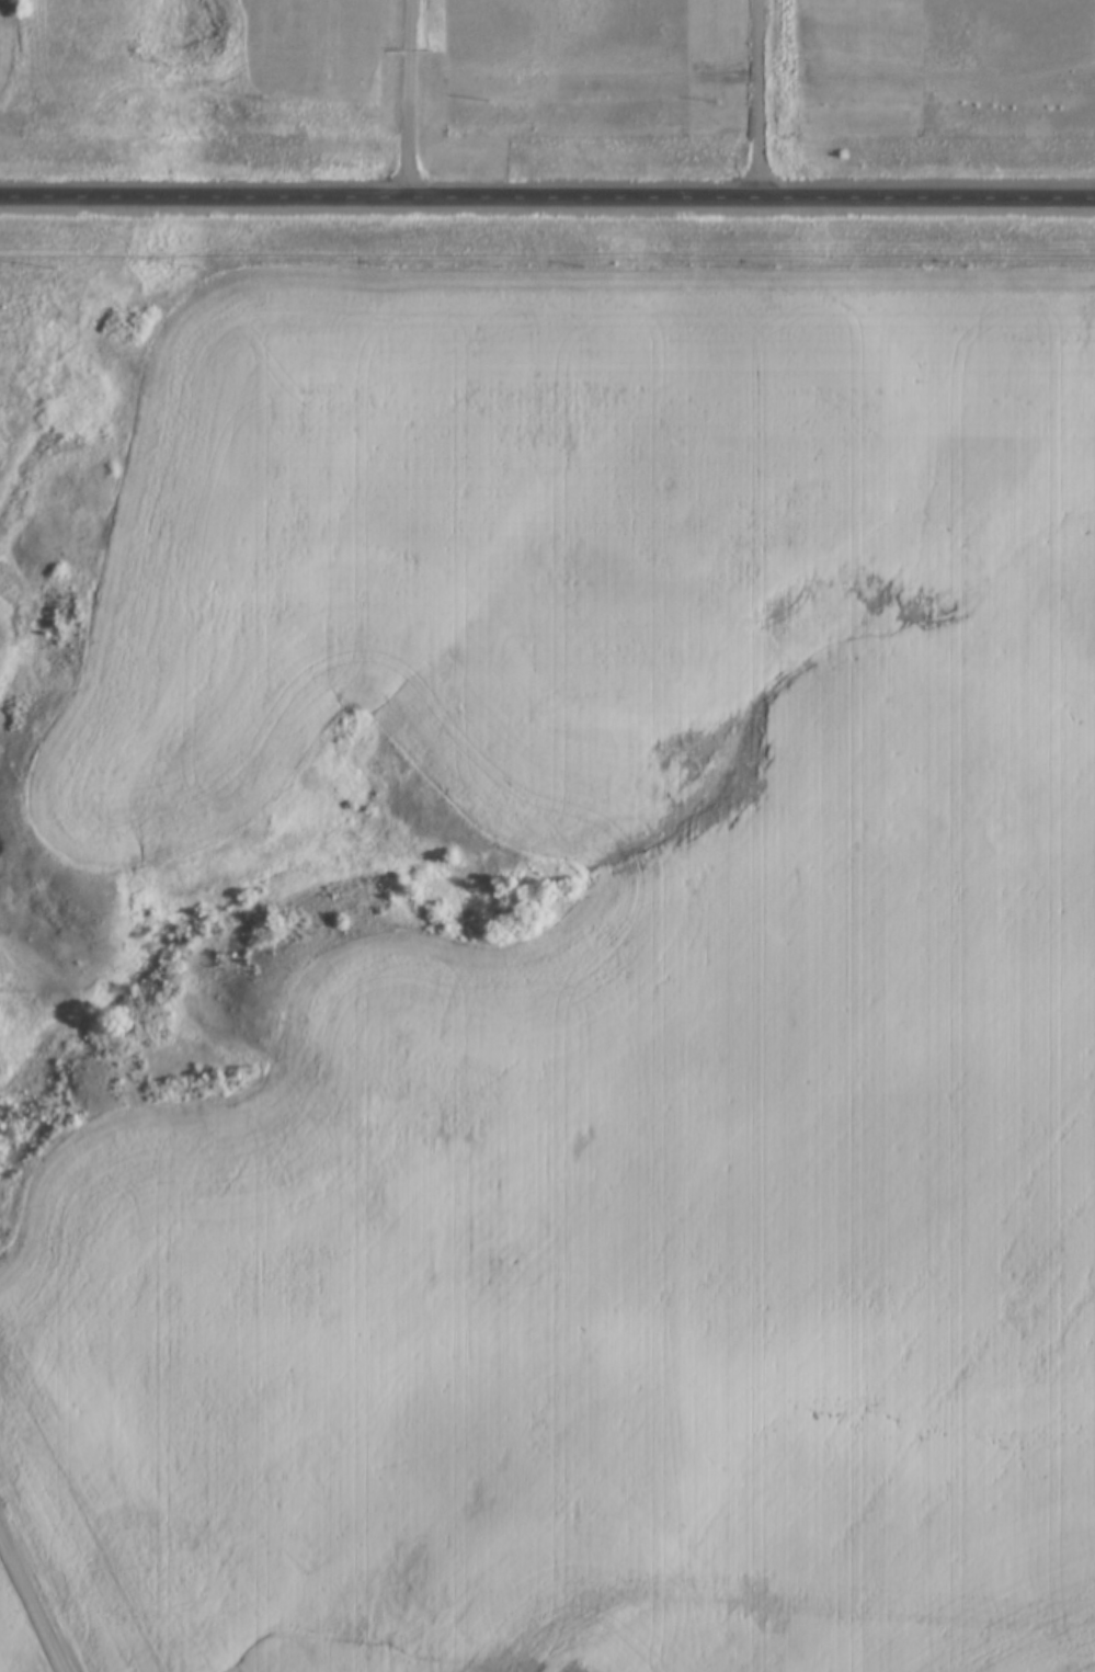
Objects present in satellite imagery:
road: (547, 200)
road: (35, 1595)

